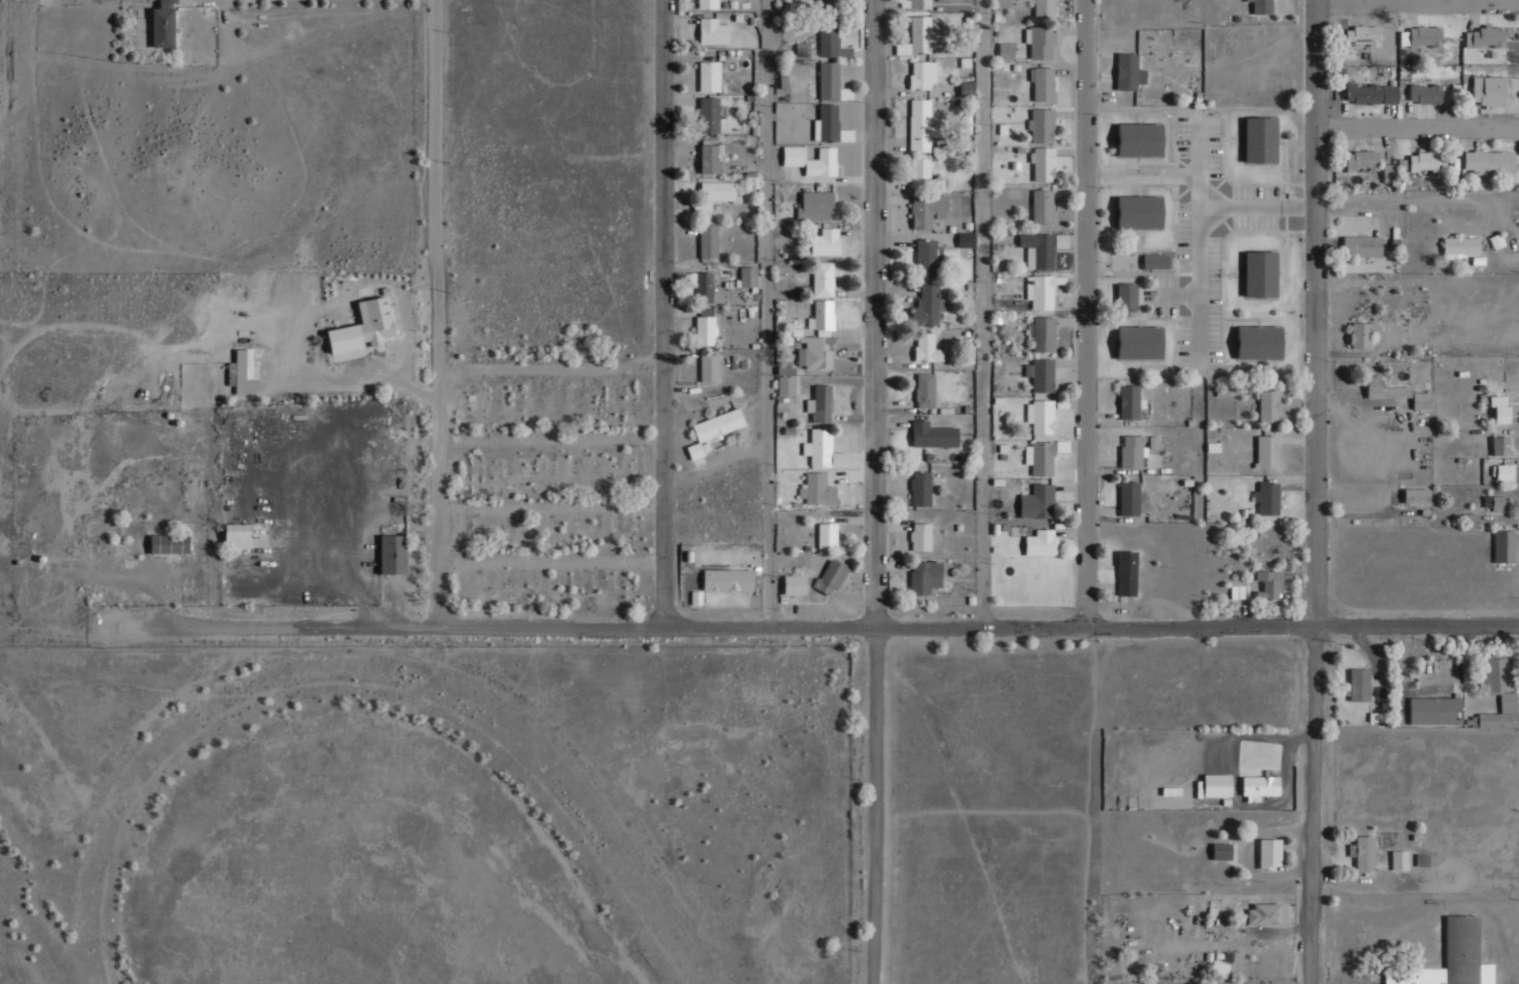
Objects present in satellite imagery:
building: (920, 3)
road: (1419, 3)
building: (709, 4)
building: (831, 6)
building: (1263, 6)
building: (1044, 8)
building: (164, 24)
building: (713, 31)
building: (1363, 35)
building: (1423, 36)
building: (1485, 36)
building: (829, 37)
building: (922, 38)
building: (1041, 41)
building: (1007, 50)
building: (1130, 71)
building: (922, 74)
building: (709, 76)
building: (829, 79)
building: (1043, 83)
building: (1490, 89)
building: (1372, 93)
building: (1426, 93)
building: (709, 114)
building: (967, 123)
building: (830, 125)
building: (925, 125)
building: (1042, 125)
road: (1419, 127)
building: (1133, 136)
building: (1254, 136)
building: (711, 154)
building: (811, 159)
building: (1363, 160)
building: (1426, 160)
building: (1490, 160)
building: (1044, 163)
building: (1396, 170)
building: (921, 172)
building: (719, 190)
building: (816, 205)
building: (1043, 206)
building: (702, 209)
building: (1133, 209)
building: (928, 210)
road: (1448, 217)
building: (966, 239)
building: (1497, 240)
building: (708, 241)
building: (826, 241)
building: (1363, 245)
building: (1461, 245)
building: (1038, 250)
building: (928, 257)
building: (1150, 257)
building: (1255, 271)
building: (748, 276)
building: (823, 279)
building: (703, 285)
building: (1042, 290)
building: (1119, 294)
building: (928, 306)
road: (666, 312)
road: (436, 313)
road: (764, 313)
road: (876, 313)
road: (981, 313)
road: (1083, 313)
building: (822, 315)
building: (706, 326)
building: (364, 327)
building: (1043, 333)
building: (1364, 334)
building: (1254, 339)
building: (1133, 340)
building: (927, 348)
building: (815, 352)
building: (709, 368)
building: (241, 369)
building: (786, 370)
building: (1041, 374)
building: (786, 386)
building: (1386, 388)
building: (925, 390)
building: (1423, 400)
building: (1130, 402)
building: (821, 403)
building: (1270, 406)
building: (1502, 408)
building: (159, 412)
storage tank: (159, 412)
building: (1041, 416)
building: (170, 419)
storage tank: (170, 419)
building: (715, 430)
building: (934, 434)
building: (1154, 442)
building: (1501, 445)
building: (1063, 446)
building: (1214, 446)
building: (824, 450)
building: (1133, 451)
building: (1268, 451)
building: (1041, 457)
building: (1505, 471)
building: (922, 488)
building: (818, 490)
road: (1314, 491)
building: (1418, 495)
building: (1130, 498)
building: (1268, 498)
building: (1038, 501)
building: (1497, 502)
building: (1469, 519)
building: (828, 535)
building: (238, 536)
building: (921, 536)
building: (1042, 542)
building: (170, 544)
building: (1505, 545)
building: (394, 554)
building: (32, 555)
storage tank: (32, 555)
building: (8, 559)
storage tank: (8, 559)
building: (1128, 573)
building: (832, 576)
building: (925, 577)
building: (728, 580)
building: (795, 584)
building: (1270, 584)
building: (1238, 591)
road: (979, 626)
road: (299, 628)
building: (1498, 672)
building: (1359, 683)
building: (1436, 710)
building: (1500, 714)
building: (1377, 716)
building: (1218, 785)
building: (1260, 787)
road: (872, 805)
building: (1223, 850)
building: (1270, 852)
building: (1364, 852)
park: (358, 859)
building: (1400, 859)
building: (1423, 859)
building: (1267, 914)
park: (33, 936)
building: (1442, 957)
building: (1221, 968)

